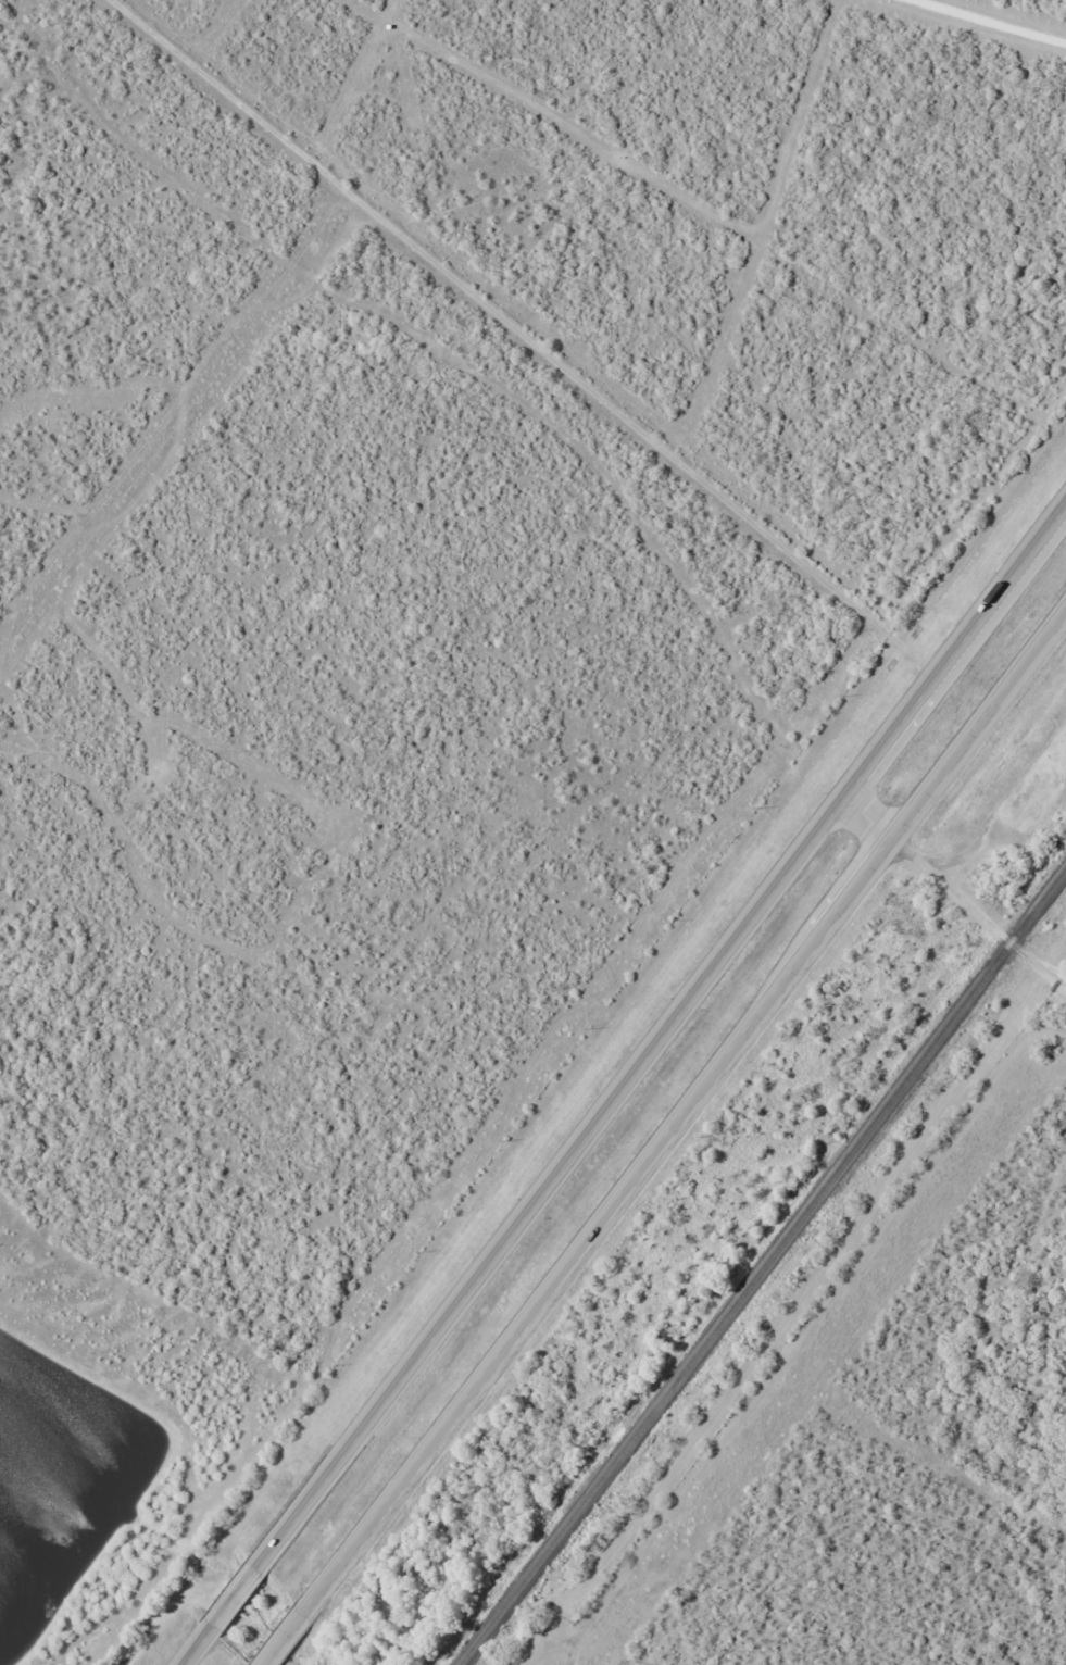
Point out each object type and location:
road: (1004, 15)
road: (955, 897)
road: (626, 1089)
road: (674, 1142)
railway: (763, 1267)

